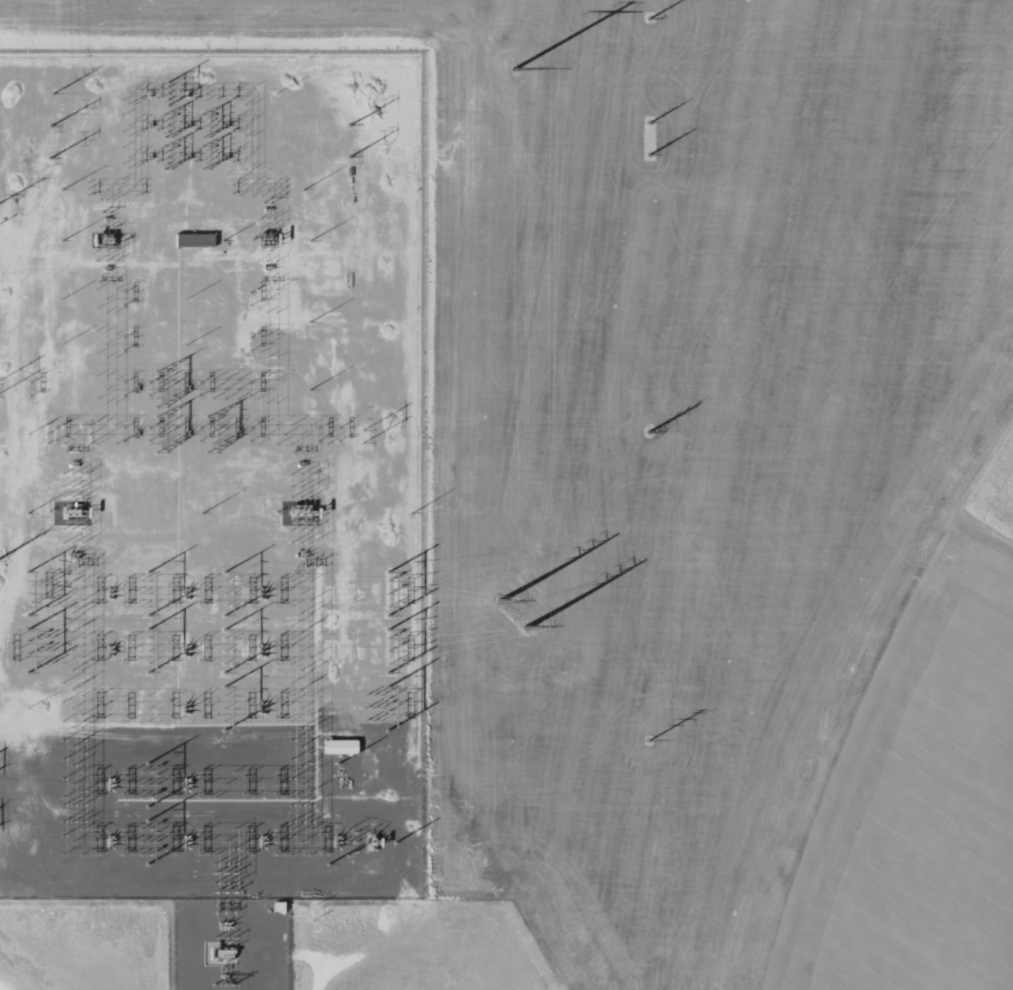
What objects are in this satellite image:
power tower: (650, 20)
power tower: (515, 70)
power tower: (651, 124)
power tower: (51, 126)
power tower: (351, 126)
power tower: (651, 155)
power tower: (351, 157)
power tower: (52, 159)
power tower: (651, 434)
power tower: (363, 437)
power substation: (210, 479)
power tower: (500, 603)
power tower: (530, 628)
power tower: (651, 743)
building: (335, 748)
power substation: (230, 947)

